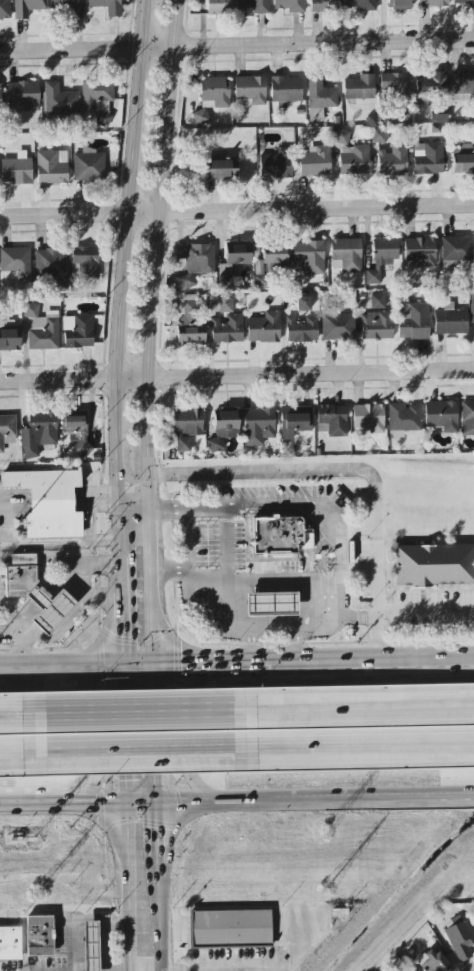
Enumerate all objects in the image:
building: (432, 3)
building: (463, 3)
building: (399, 4)
building: (254, 5)
building: (361, 5)
building: (107, 6)
building: (290, 6)
building: (324, 6)
building: (27, 7)
building: (69, 7)
building: (220, 7)
building: (5, 10)
road: (236, 49)
building: (463, 83)
building: (396, 86)
building: (430, 86)
building: (359, 88)
building: (285, 89)
building: (250, 90)
building: (214, 93)
building: (23, 96)
building: (0, 97)
building: (319, 98)
building: (60, 99)
building: (341, 137)
building: (428, 158)
building: (353, 160)
building: (392, 160)
building: (315, 161)
building: (276, 164)
building: (463, 164)
building: (88, 166)
building: (51, 167)
building: (16, 169)
building: (220, 170)
road: (237, 210)
building: (456, 249)
building: (420, 252)
building: (346, 255)
building: (275, 256)
building: (308, 257)
building: (381, 258)
building: (14, 259)
building: (85, 262)
building: (195, 266)
building: (52, 268)
building: (225, 269)
road: (124, 273)
building: (261, 282)
building: (377, 301)
building: (303, 303)
building: (225, 305)
building: (472, 309)
building: (31, 310)
building: (450, 320)
building: (189, 321)
building: (413, 321)
building: (376, 326)
building: (338, 327)
building: (264, 328)
building: (227, 329)
building: (302, 329)
building: (77, 331)
building: (44, 332)
road: (148, 332)
building: (9, 340)
road: (236, 380)
building: (441, 416)
building: (369, 418)
building: (467, 418)
building: (403, 419)
building: (332, 420)
building: (295, 421)
building: (258, 426)
building: (187, 427)
building: (223, 429)
building: (7, 431)
building: (76, 431)
building: (38, 434)
road: (353, 470)
building: (48, 502)
road: (313, 505)
building: (280, 535)
road: (136, 537)
road: (61, 541)
road: (228, 548)
road: (23, 559)
road: (56, 559)
road: (320, 559)
road: (5, 560)
building: (434, 565)
road: (124, 568)
road: (170, 569)
road: (80, 574)
road: (266, 589)
building: (35, 593)
building: (271, 604)
road: (426, 607)
road: (221, 613)
road: (126, 627)
road: (52, 638)
traffic signals: (127, 638)
road: (295, 640)
road: (251, 642)
road: (22, 653)
road: (387, 659)
road: (263, 663)
road: (188, 665)
road: (139, 666)
traffic signals: (181, 666)
road: (63, 667)
traffic signals: (152, 689)
road: (357, 719)
road: (133, 722)
road: (13, 724)
road: (190, 732)
road: (93, 734)
road: (127, 734)
road: (152, 734)
road: (358, 740)
road: (136, 745)
road: (15, 747)
traffic signals: (128, 779)
road: (314, 798)
road: (31, 802)
road: (93, 802)
traffic signals: (95, 802)
road: (142, 802)
road: (2, 803)
traffic signals: (156, 829)
road: (156, 832)
power tower: (324, 832)
power tower: (33, 835)
road: (131, 886)
power tower: (325, 887)
power tower: (35, 890)
road: (90, 916)
road: (160, 916)
road: (118, 919)
building: (230, 929)
building: (39, 936)
building: (460, 940)
building: (10, 944)
building: (90, 946)
building: (432, 961)
road: (222, 968)
building: (404, 970)

